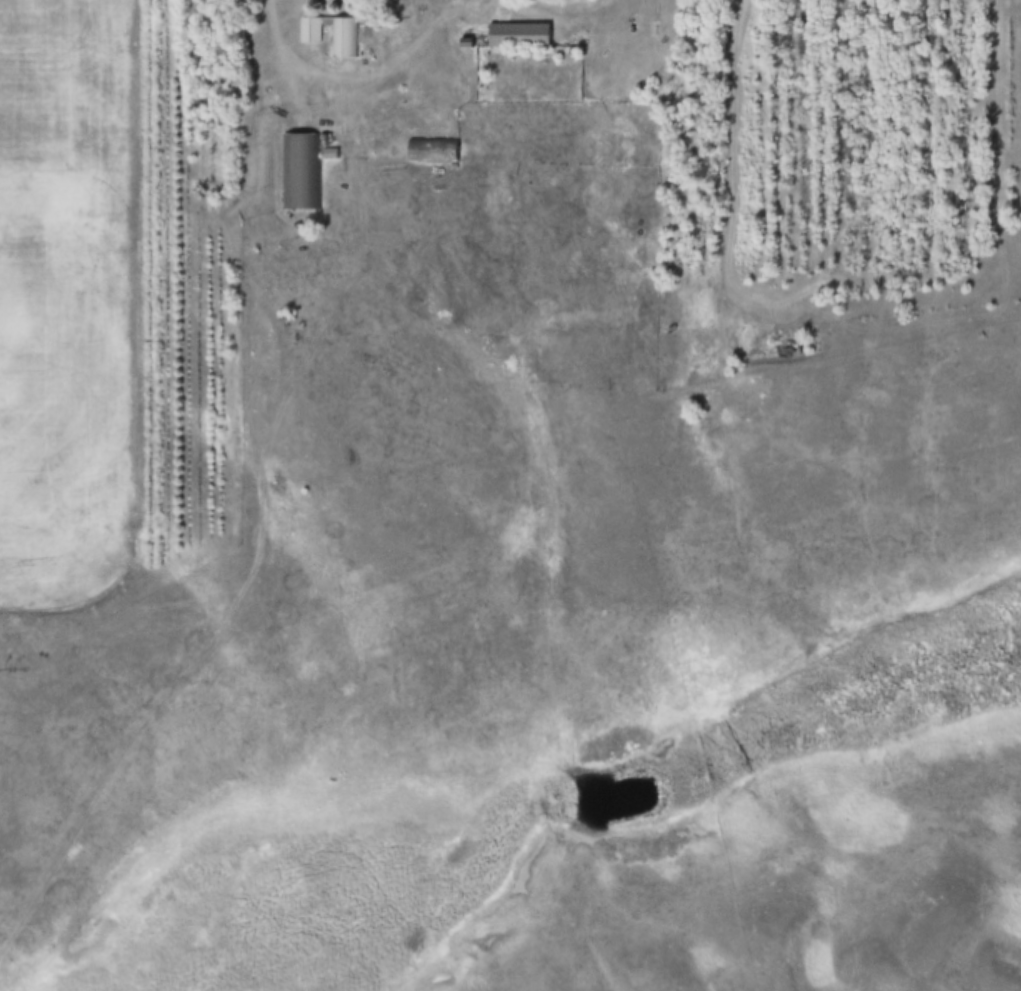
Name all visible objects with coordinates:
building: (471, 3)
building: (346, 36)
building: (522, 37)
building: (436, 152)
building: (301, 173)
road: (259, 487)

